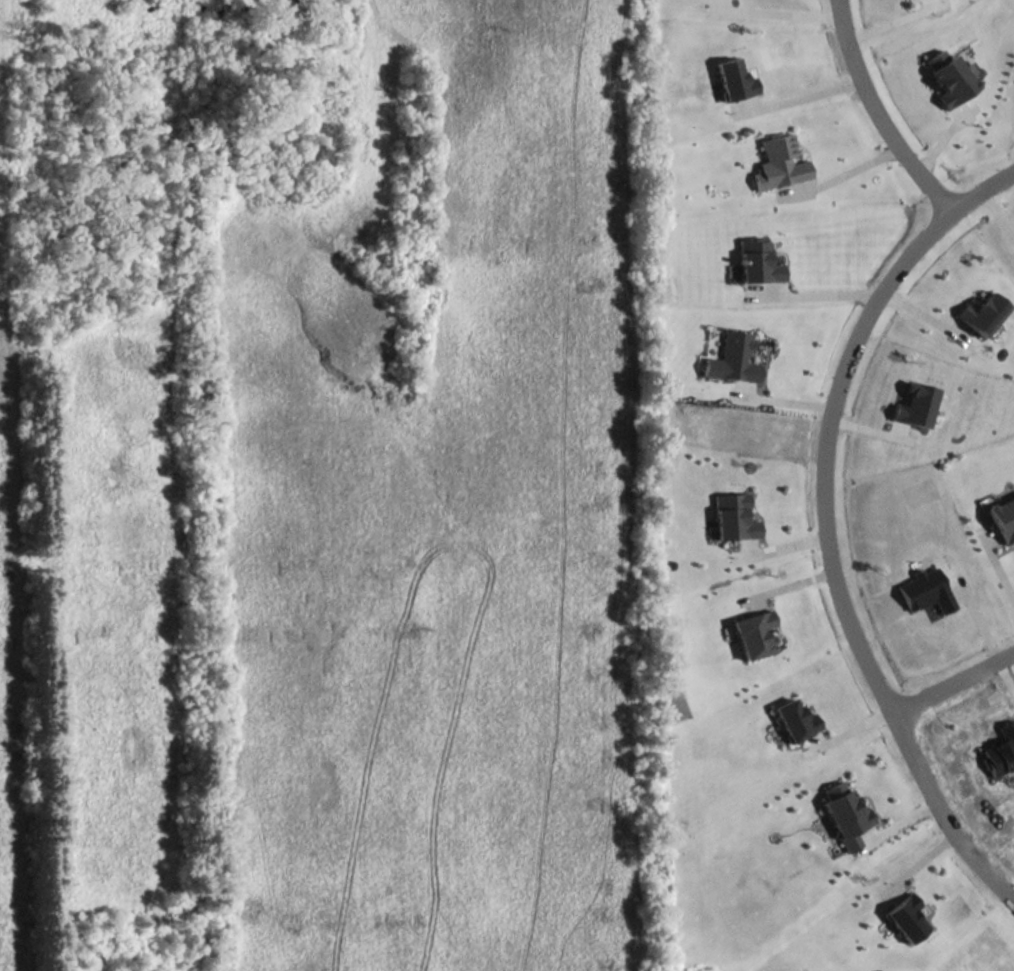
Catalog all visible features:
road: (782, 10)
building: (948, 76)
building: (734, 78)
road: (805, 94)
road: (880, 108)
building: (779, 163)
road: (854, 171)
building: (757, 260)
road: (817, 290)
building: (982, 313)
road: (921, 314)
building: (732, 357)
road: (416, 403)
building: (915, 404)
building: (732, 516)
road: (825, 517)
building: (1003, 518)
road: (1003, 561)
building: (924, 590)
building: (752, 633)
road: (464, 686)
road: (957, 695)
building: (794, 719)
building: (1000, 750)
road: (232, 779)
building: (845, 814)
building: (906, 917)

